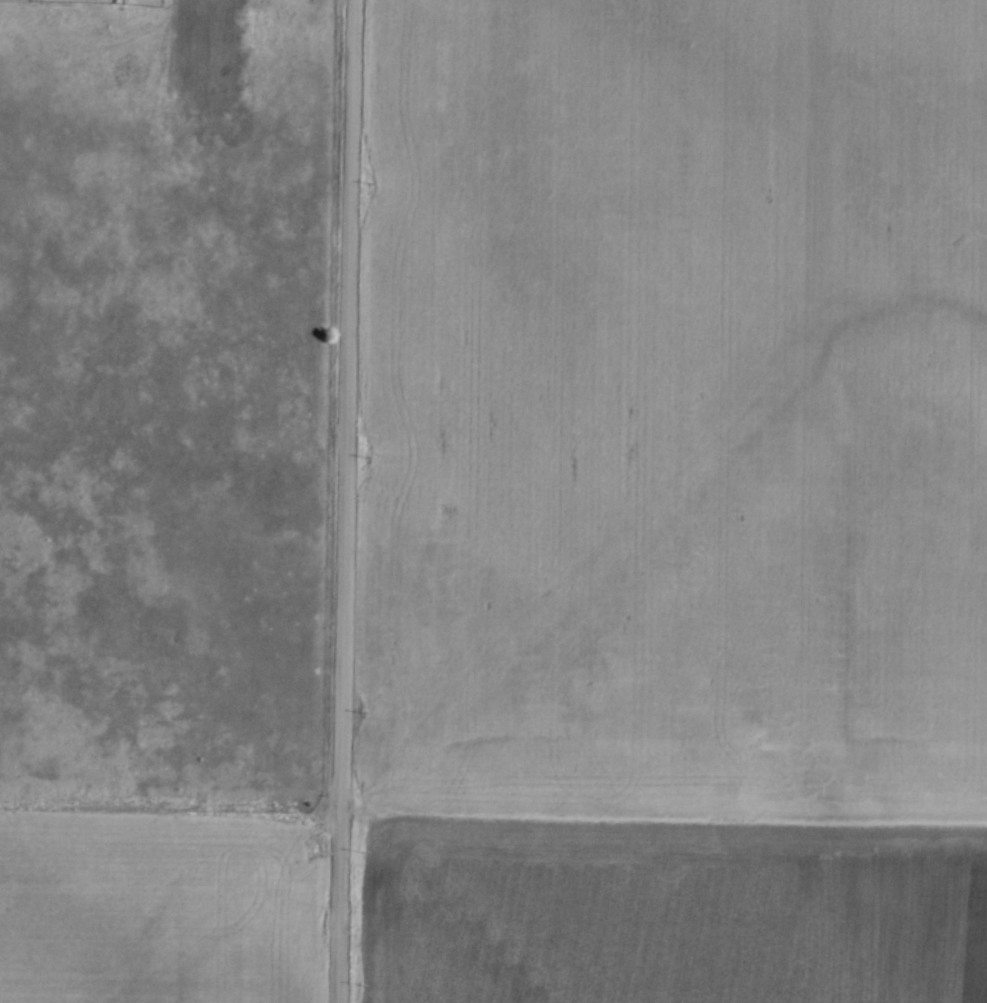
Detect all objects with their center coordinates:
road: (349, 501)
crop: (677, 503)
crop: (158, 906)

